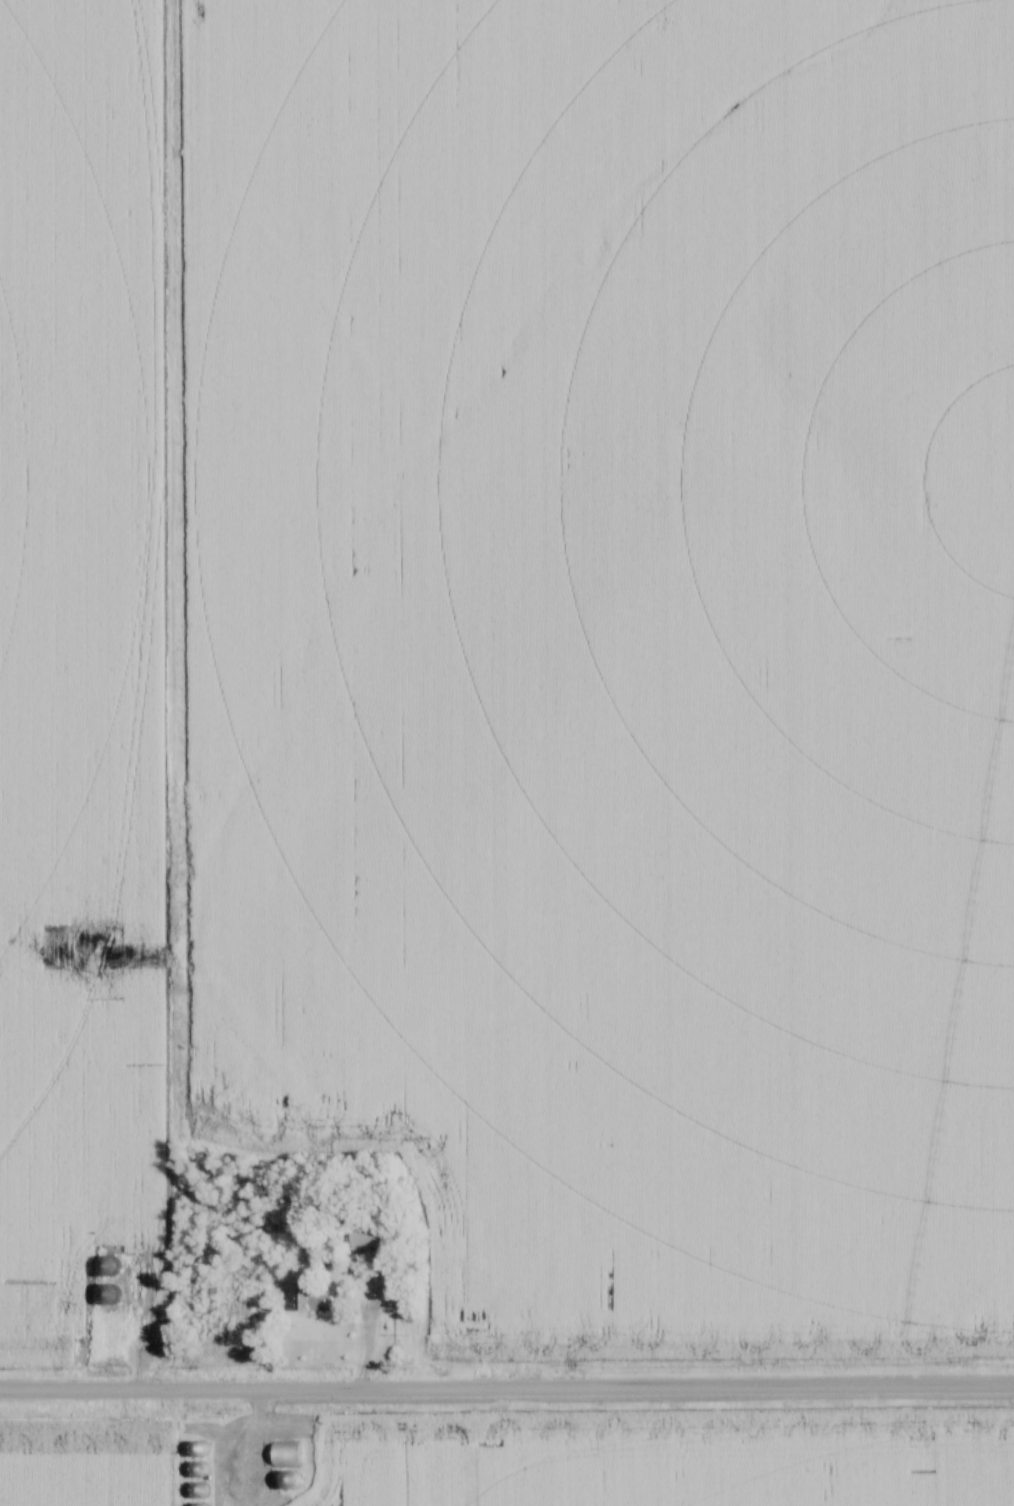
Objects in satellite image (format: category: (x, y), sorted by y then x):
building: (367, 1237)
building: (364, 1265)
building: (313, 1300)
road: (507, 1392)
building: (284, 1454)

